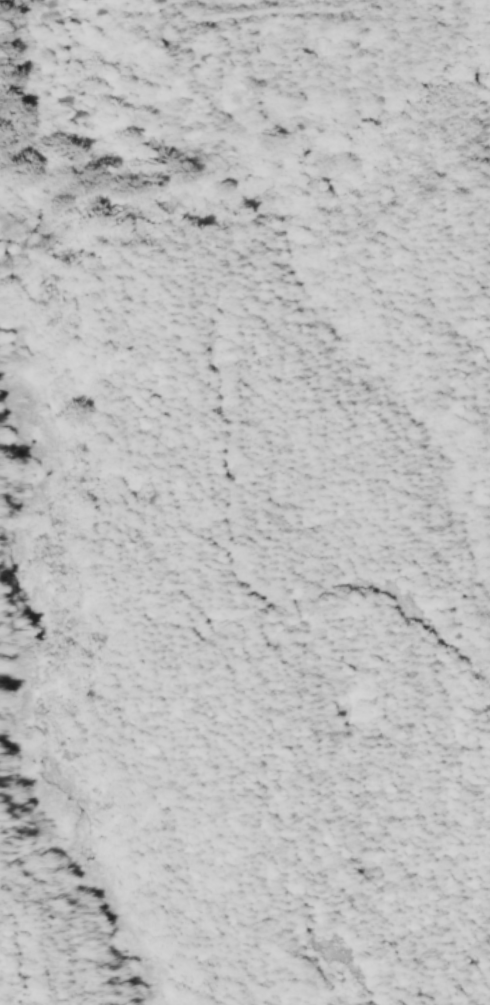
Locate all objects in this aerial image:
road: (441, 639)
road: (355, 970)

